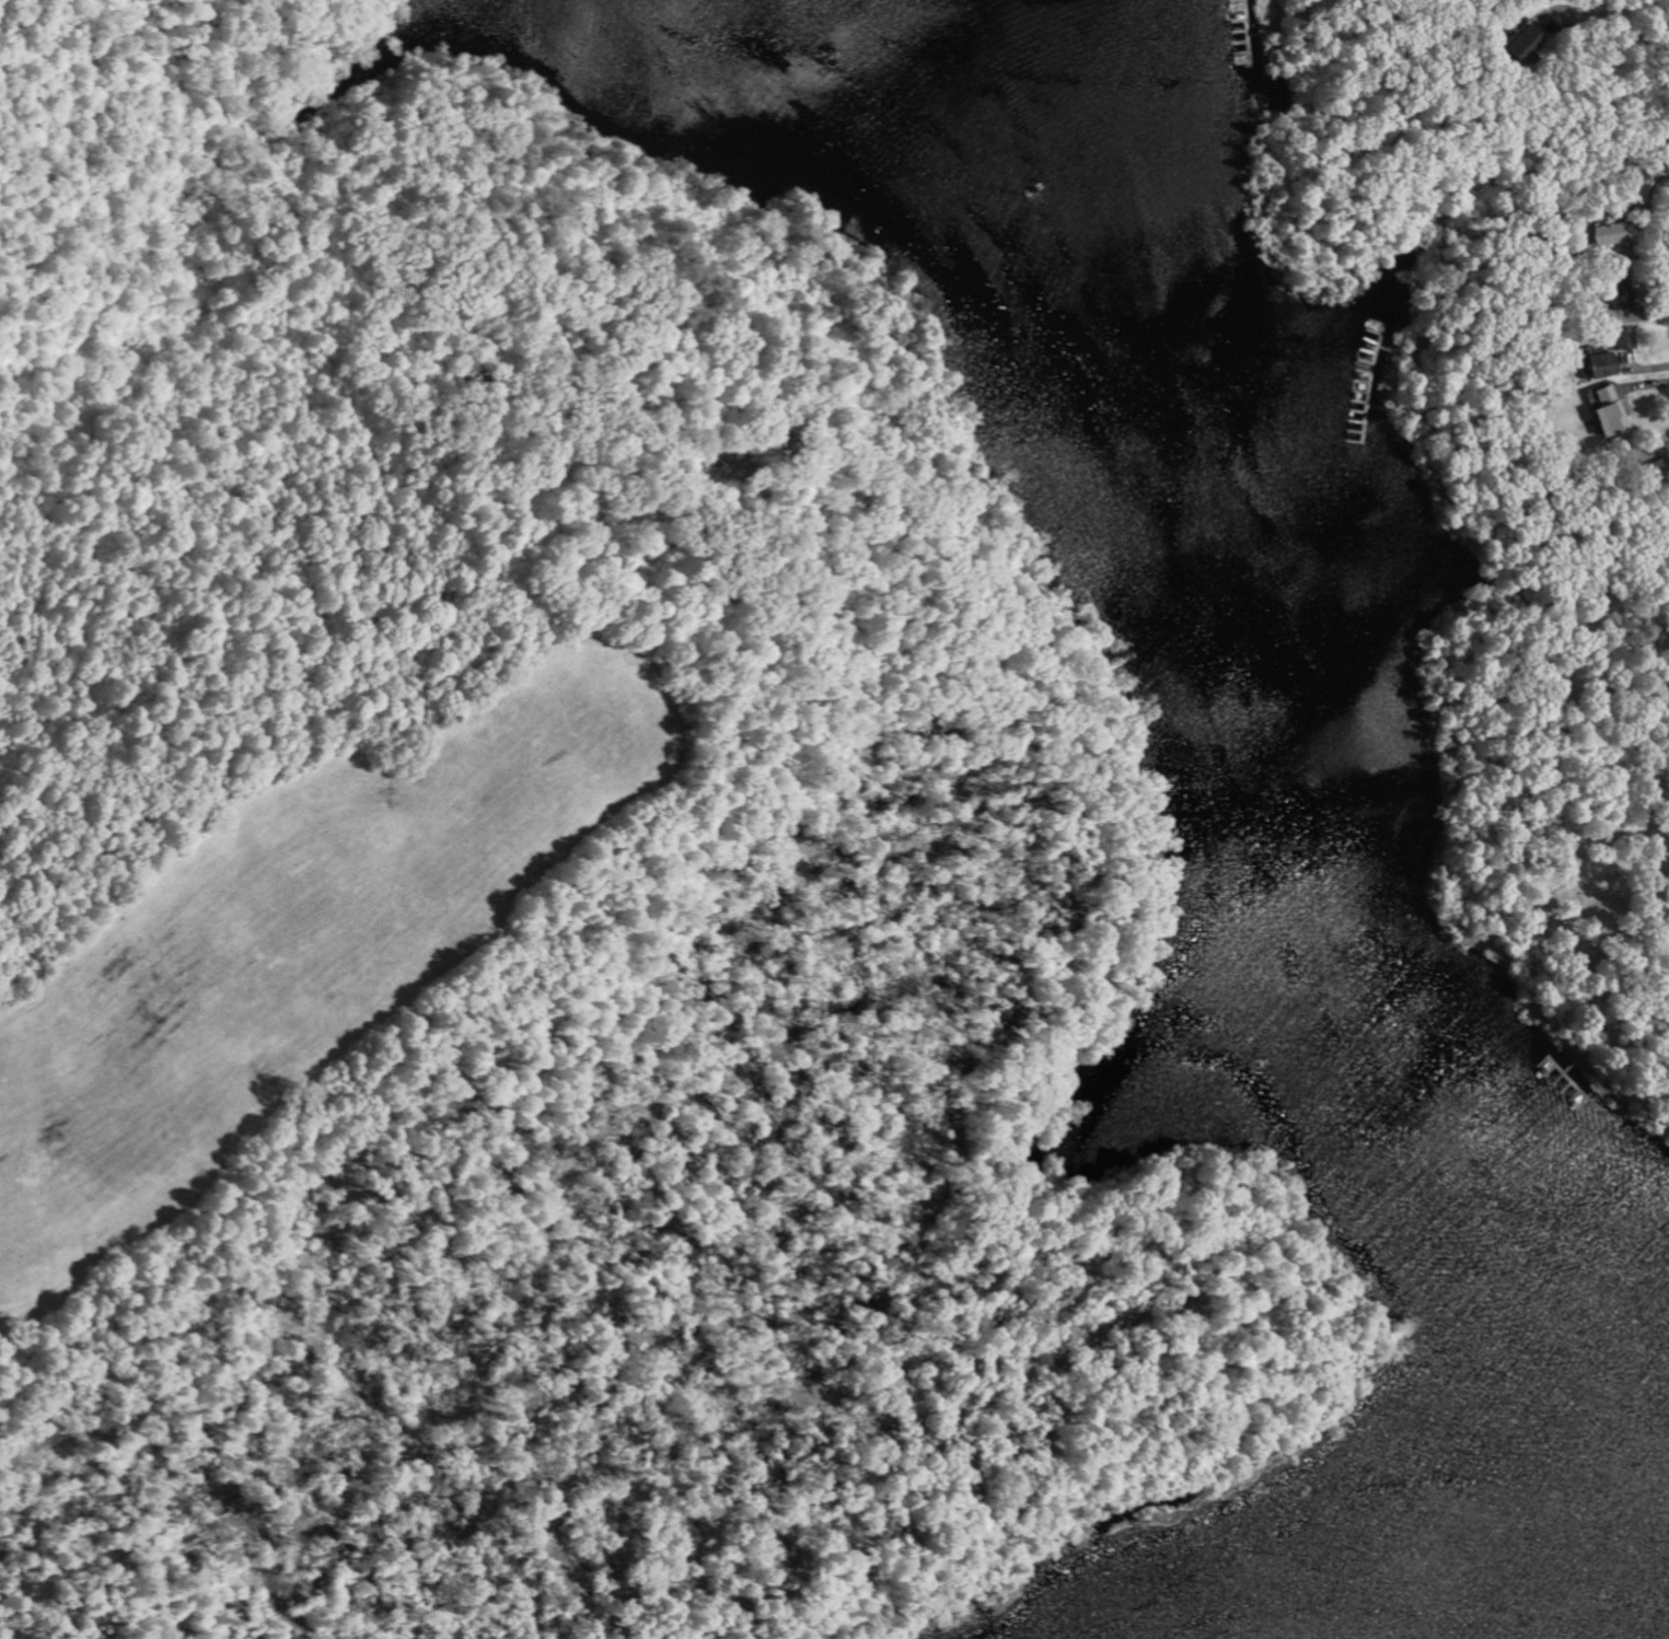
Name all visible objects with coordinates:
building: (1523, 39)
building: (1609, 233)
building: (1624, 292)
building: (1626, 337)
building: (1608, 370)
building: (1613, 409)
building: (1661, 467)

